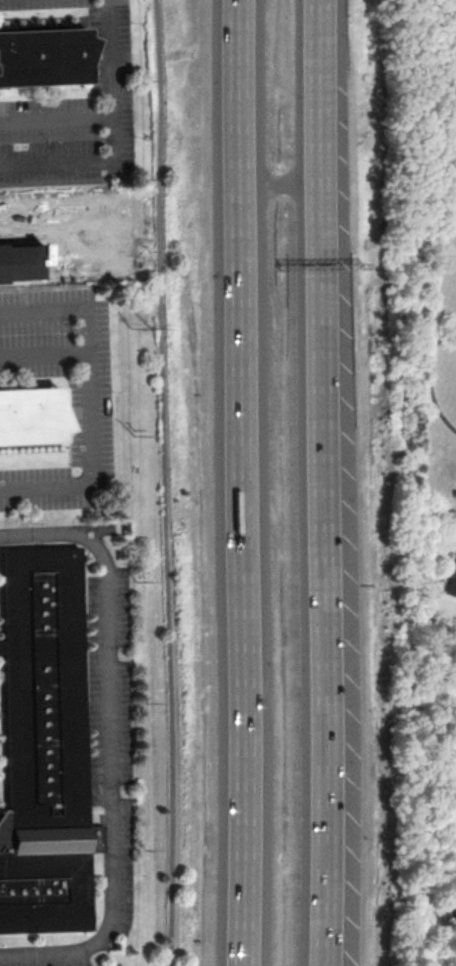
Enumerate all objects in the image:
road: (450, 21)
building: (42, 55)
road: (56, 116)
road: (450, 137)
road: (113, 138)
road: (278, 186)
parking lot: (51, 305)
road: (431, 314)
parking lot: (36, 349)
road: (44, 356)
road: (91, 404)
parking lot: (94, 414)
building: (30, 415)
road: (319, 477)
road: (165, 482)
road: (243, 482)
parking lot: (41, 490)
building: (452, 579)
building: (41, 690)
road: (113, 743)
building: (453, 813)
building: (454, 880)
building: (44, 891)
building: (454, 899)
road: (328, 960)

